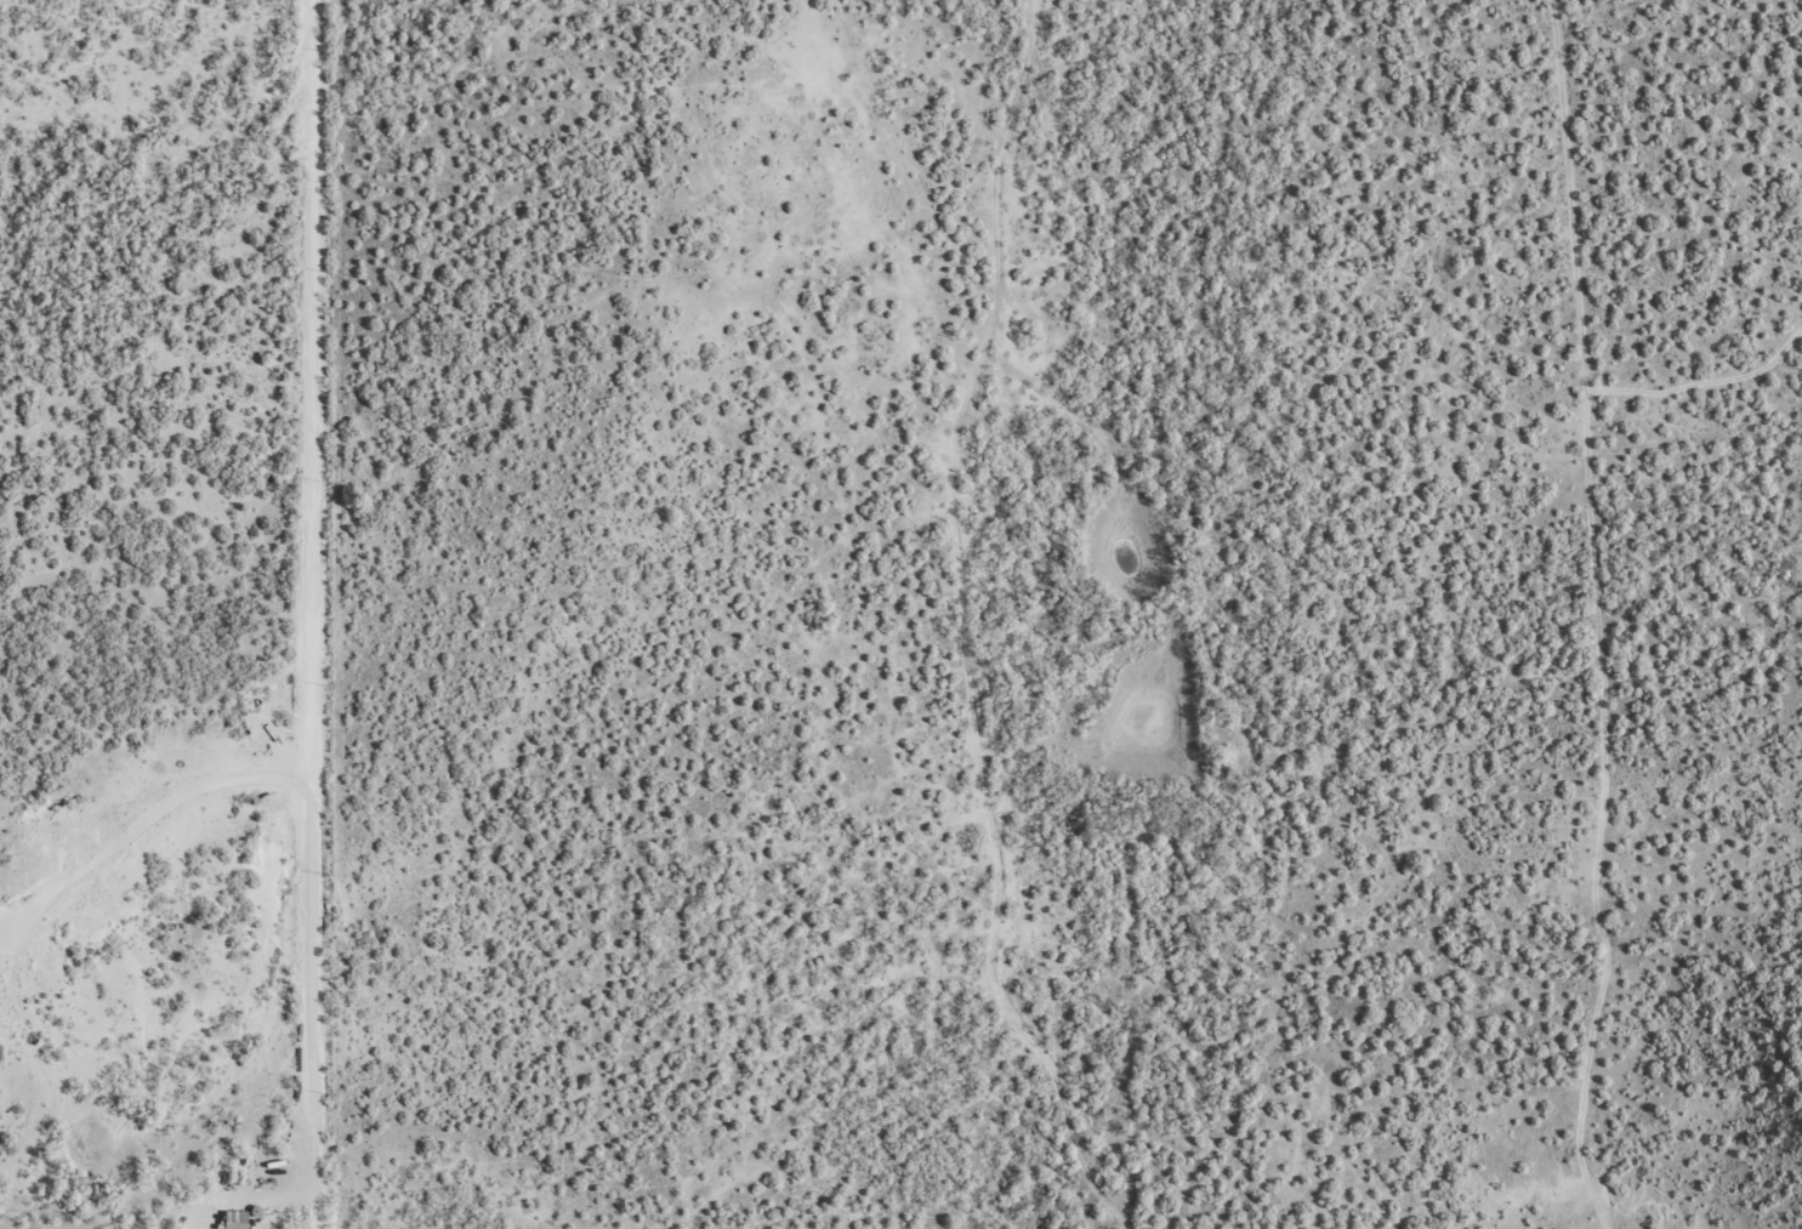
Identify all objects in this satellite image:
road: (1110, 630)

